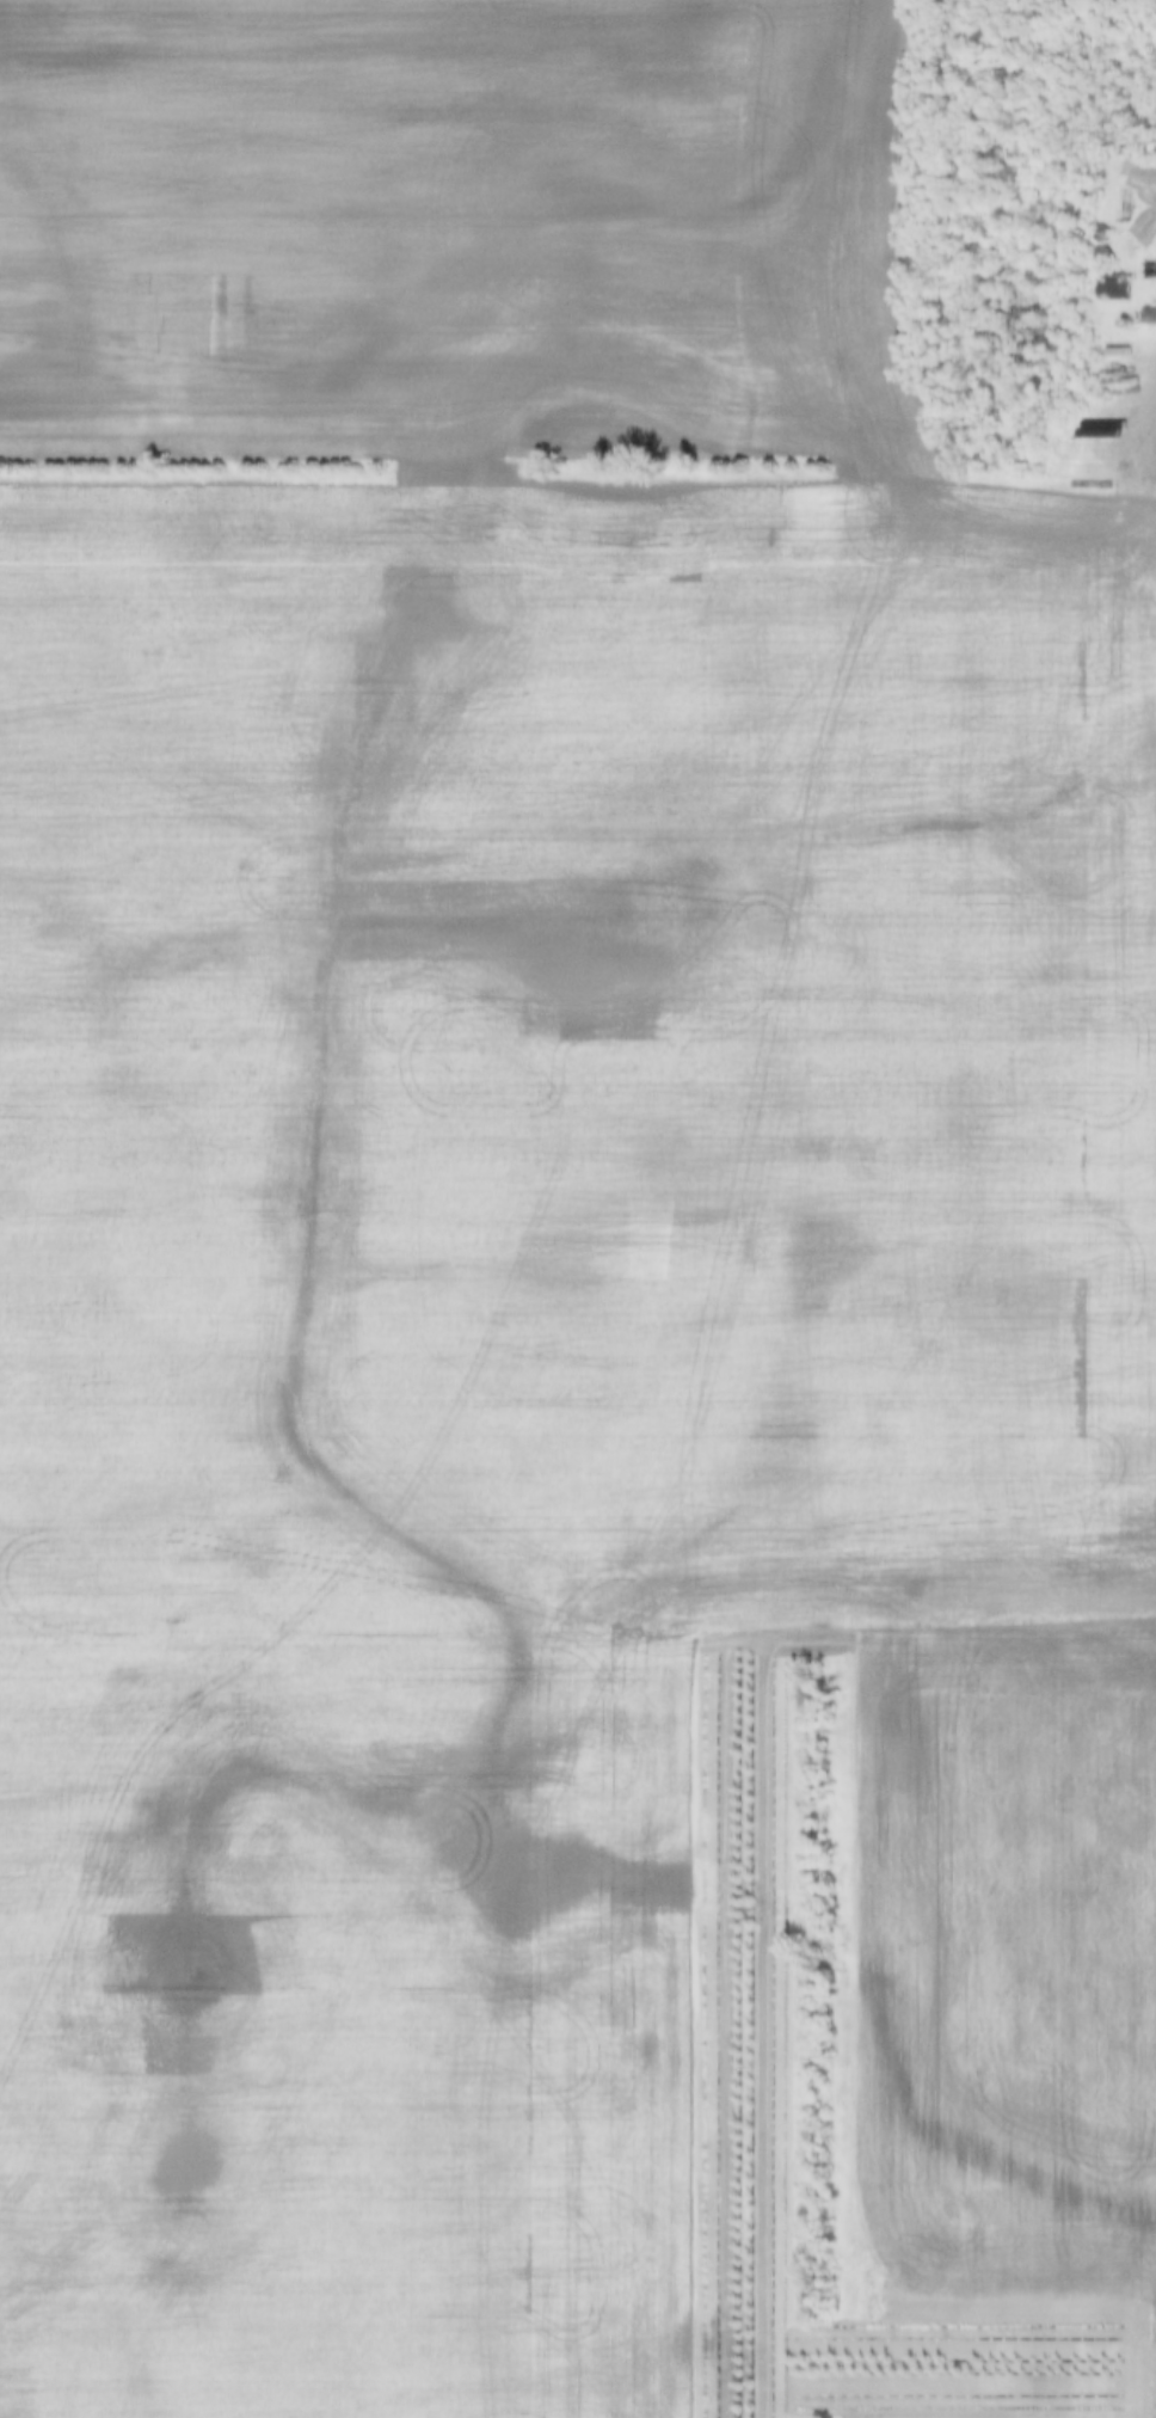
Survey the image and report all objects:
building: (1095, 232)
building: (1096, 253)
building: (1108, 289)
building: (1146, 315)

